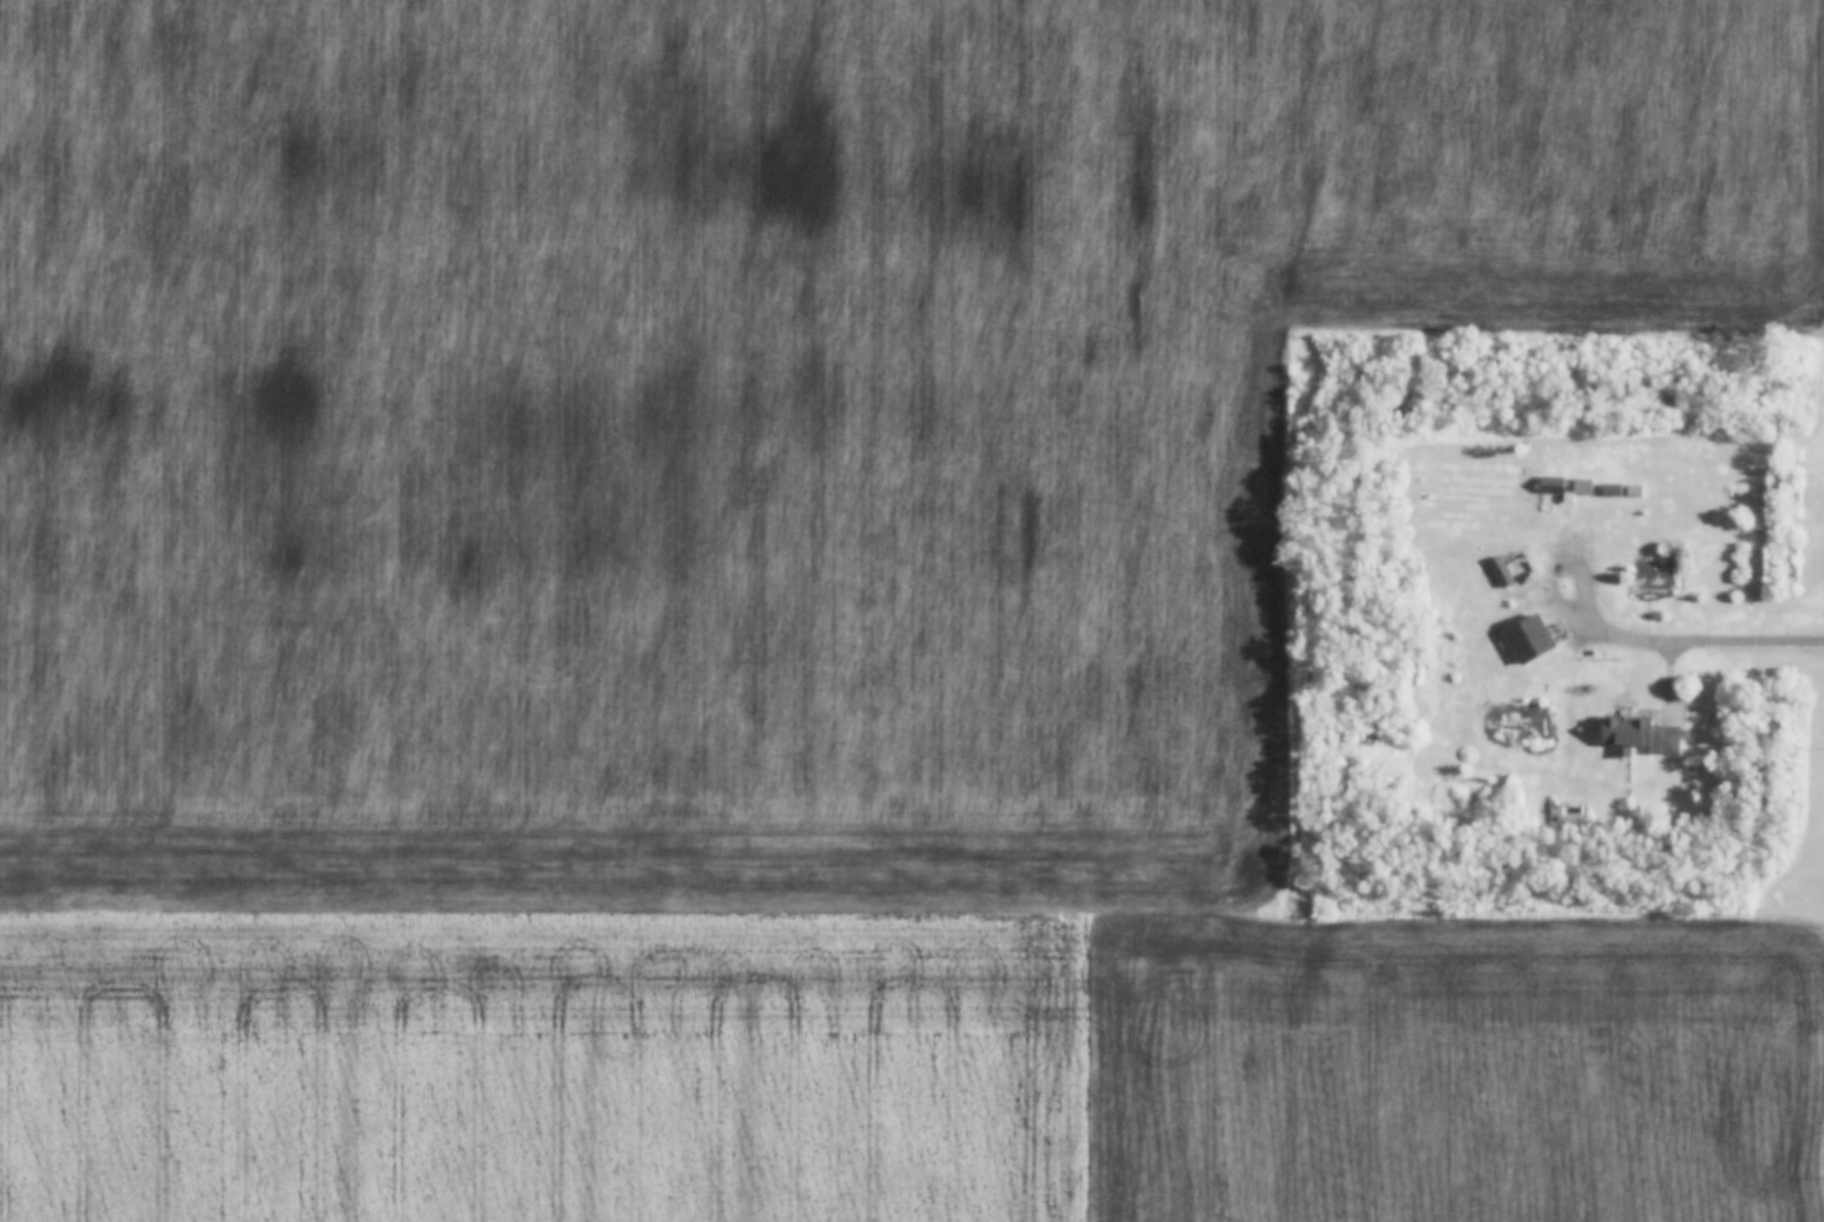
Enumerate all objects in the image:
building: (1582, 488)
building: (1553, 497)
road: (1555, 594)
building: (1531, 640)
road: (1711, 642)
building: (1643, 735)

